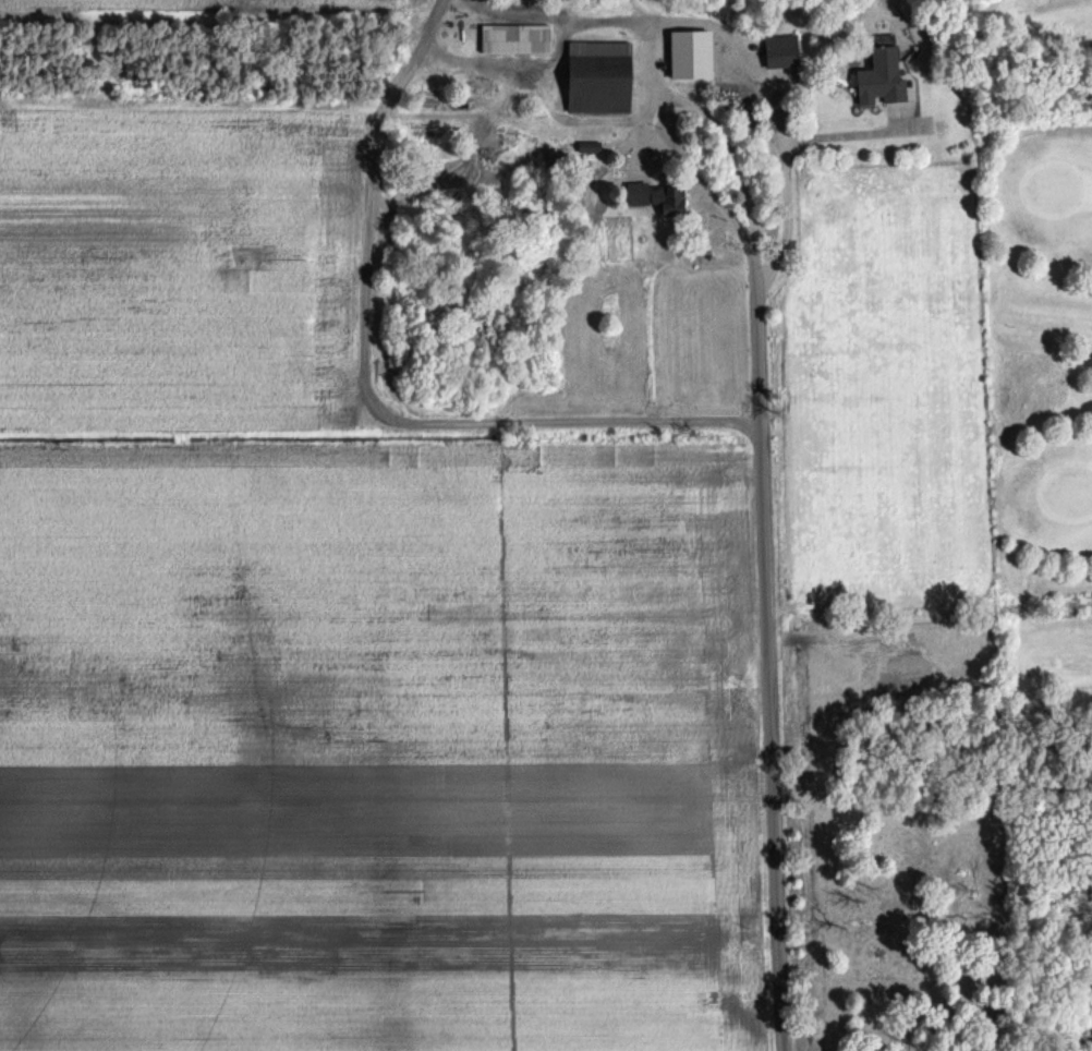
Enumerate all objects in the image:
building: (511, 37)
building: (777, 50)
building: (685, 53)
road: (750, 68)
building: (877, 73)
building: (599, 76)
road: (668, 107)
road: (842, 138)
building: (654, 196)
park: (1044, 386)
road: (769, 654)

